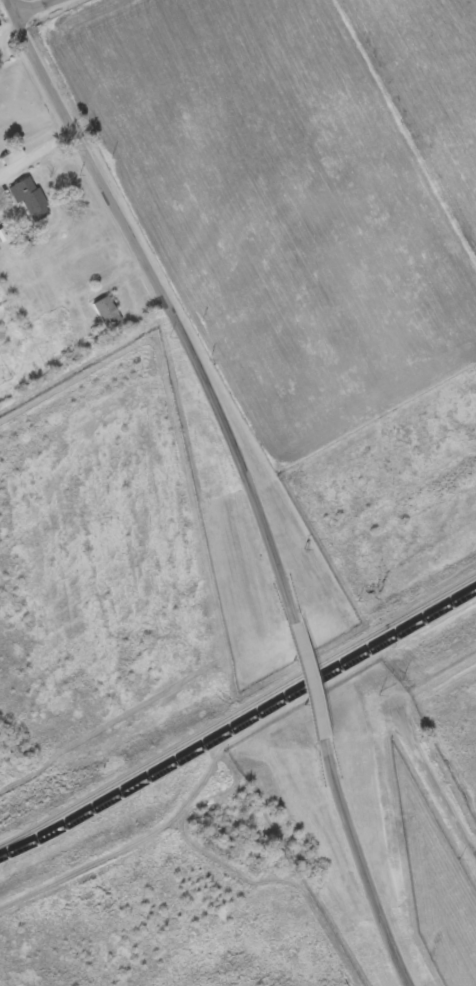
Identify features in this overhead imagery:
road: (33, 9)
road: (35, 157)
building: (31, 200)
road: (159, 303)
building: (108, 314)
road: (434, 683)
road: (296, 688)
railway: (238, 710)
power plant: (129, 714)
railway: (239, 726)
road: (434, 784)
road: (353, 871)

